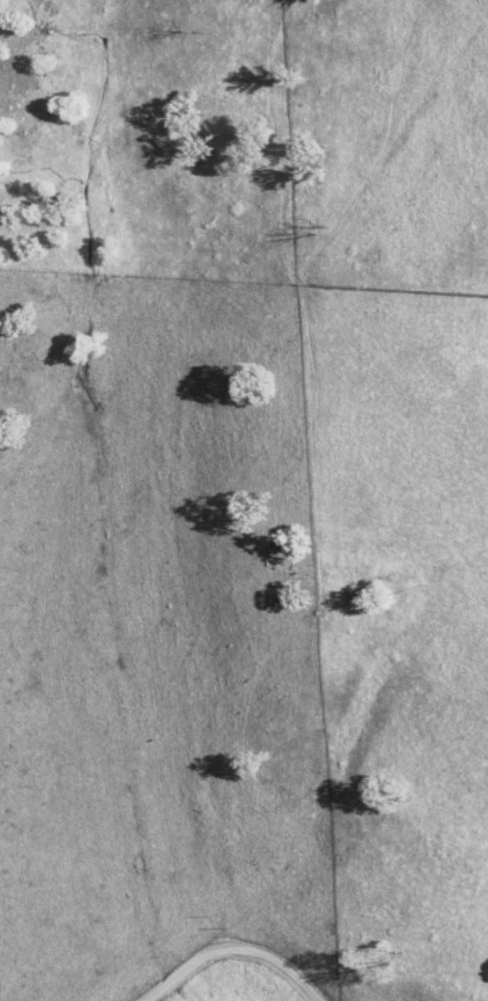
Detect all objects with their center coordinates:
road: (232, 949)

